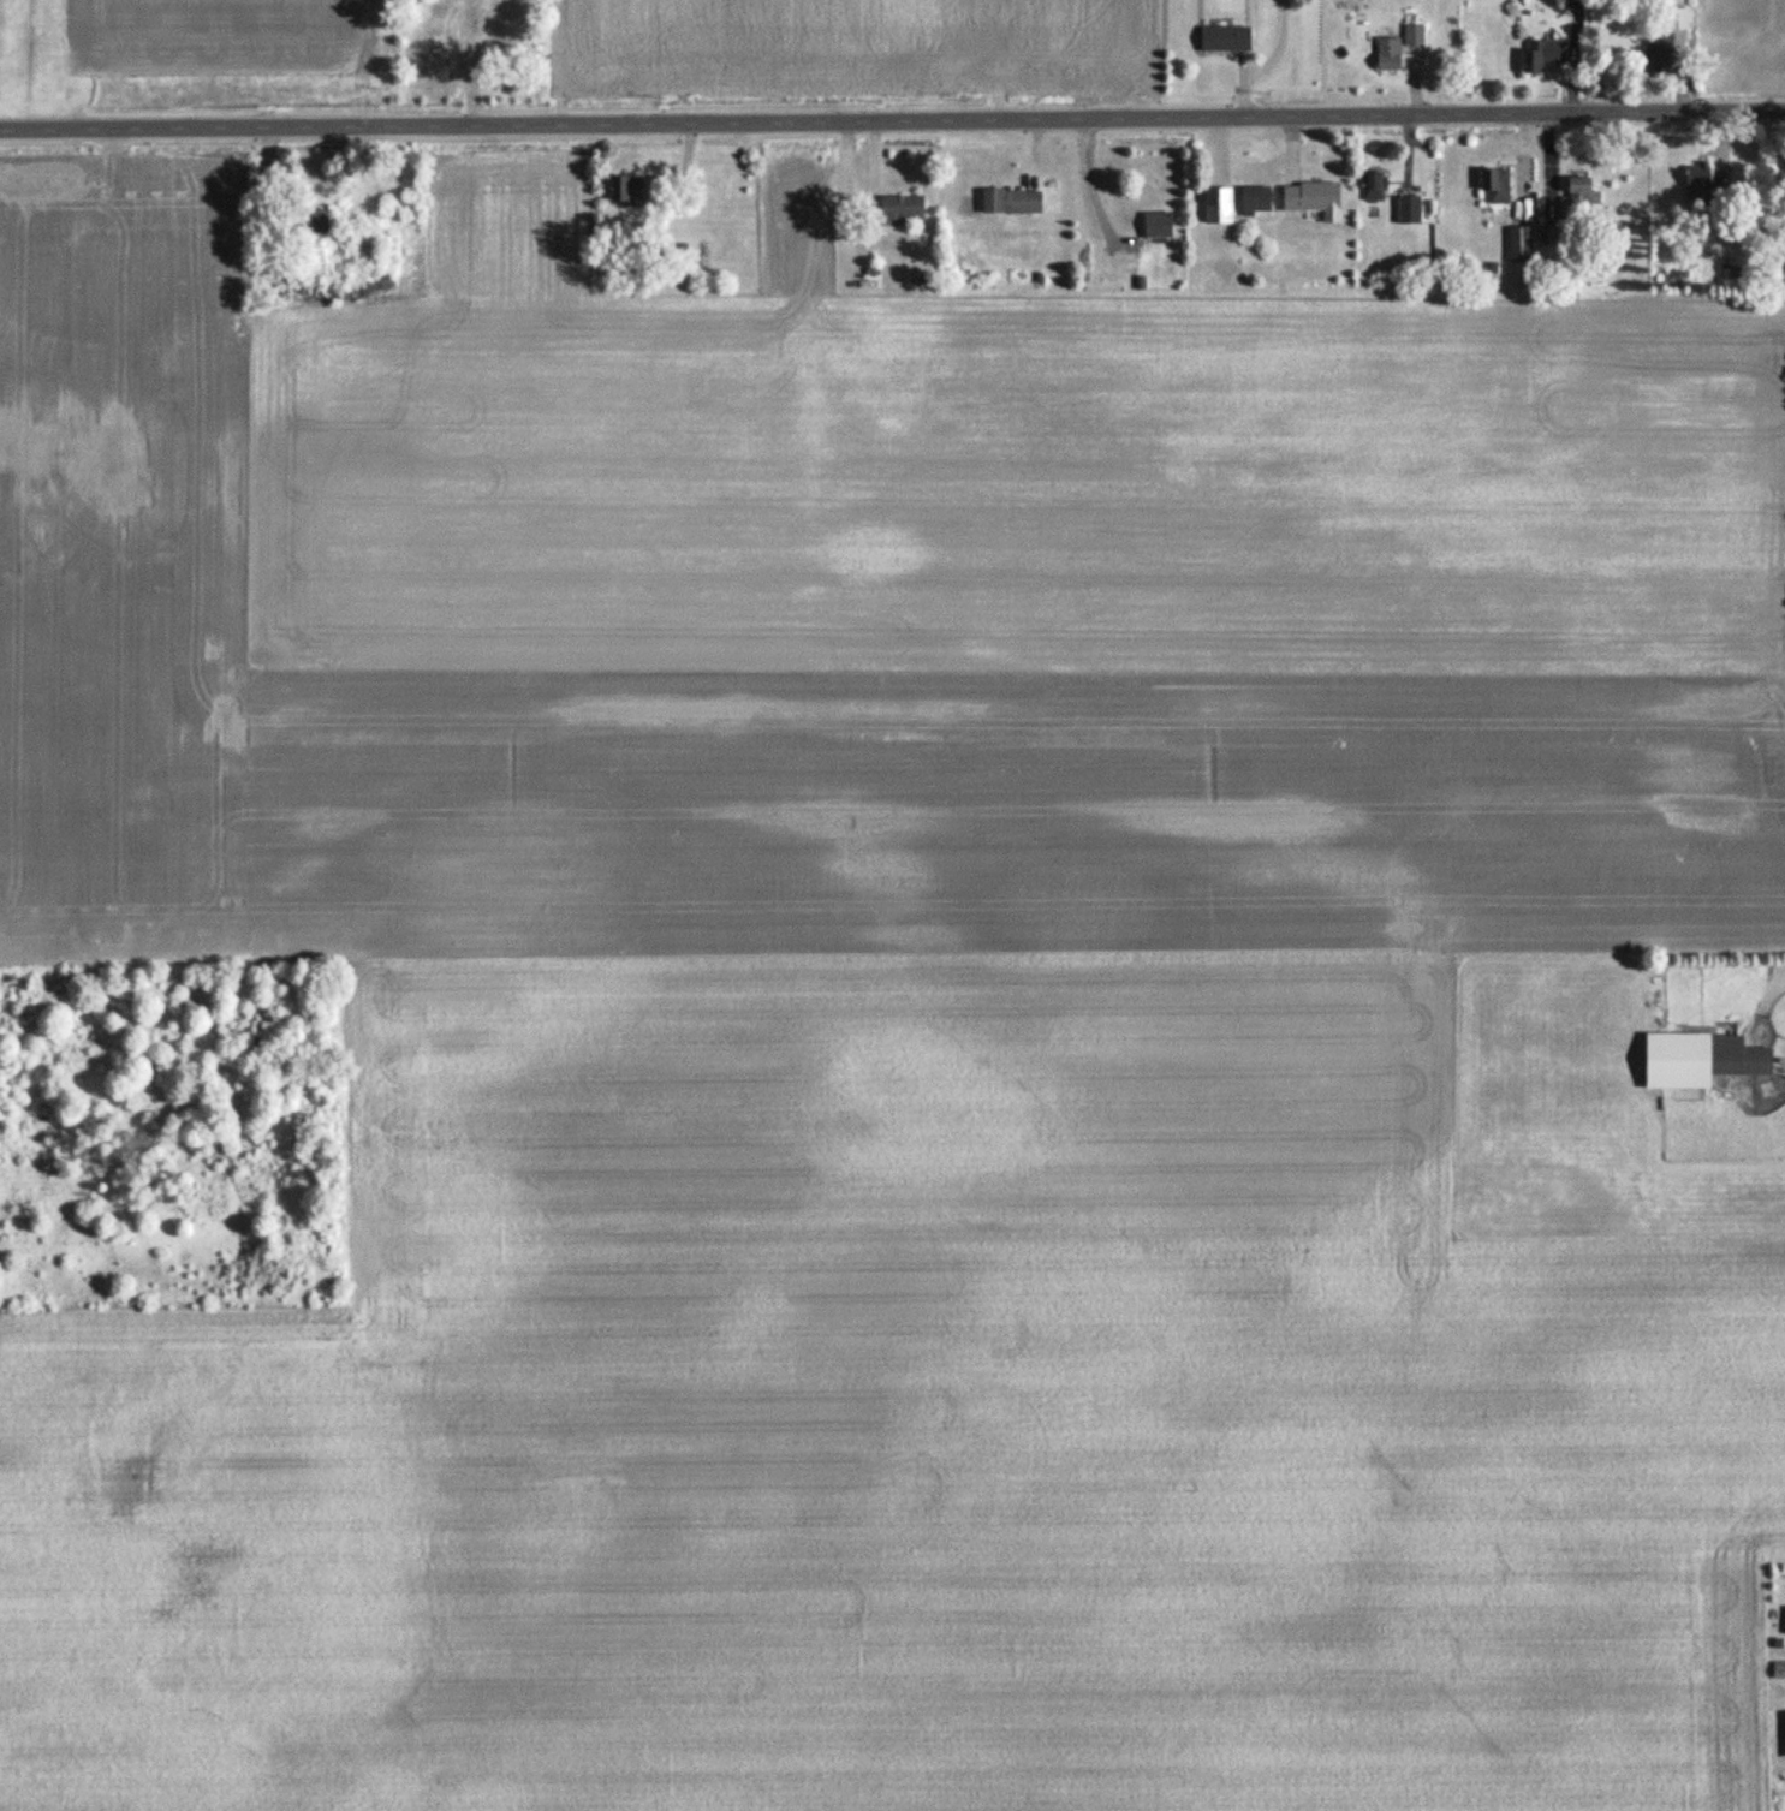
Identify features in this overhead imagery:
building: (494, 5)
building: (436, 13)
building: (1674, 22)
building: (1411, 36)
building: (1220, 40)
building: (496, 42)
building: (436, 43)
building: (1385, 55)
building: (1540, 58)
road: (892, 118)
building: (1695, 178)
building: (1372, 187)
building: (1492, 187)
building: (623, 192)
building: (1579, 197)
building: (1251, 201)
building: (1310, 201)
building: (1008, 203)
building: (1215, 207)
building: (897, 209)
building: (1405, 212)
building: (301, 222)
building: (1154, 226)
building: (1546, 238)
building: (1518, 246)
building: (1696, 1060)
building: (1777, 1670)

